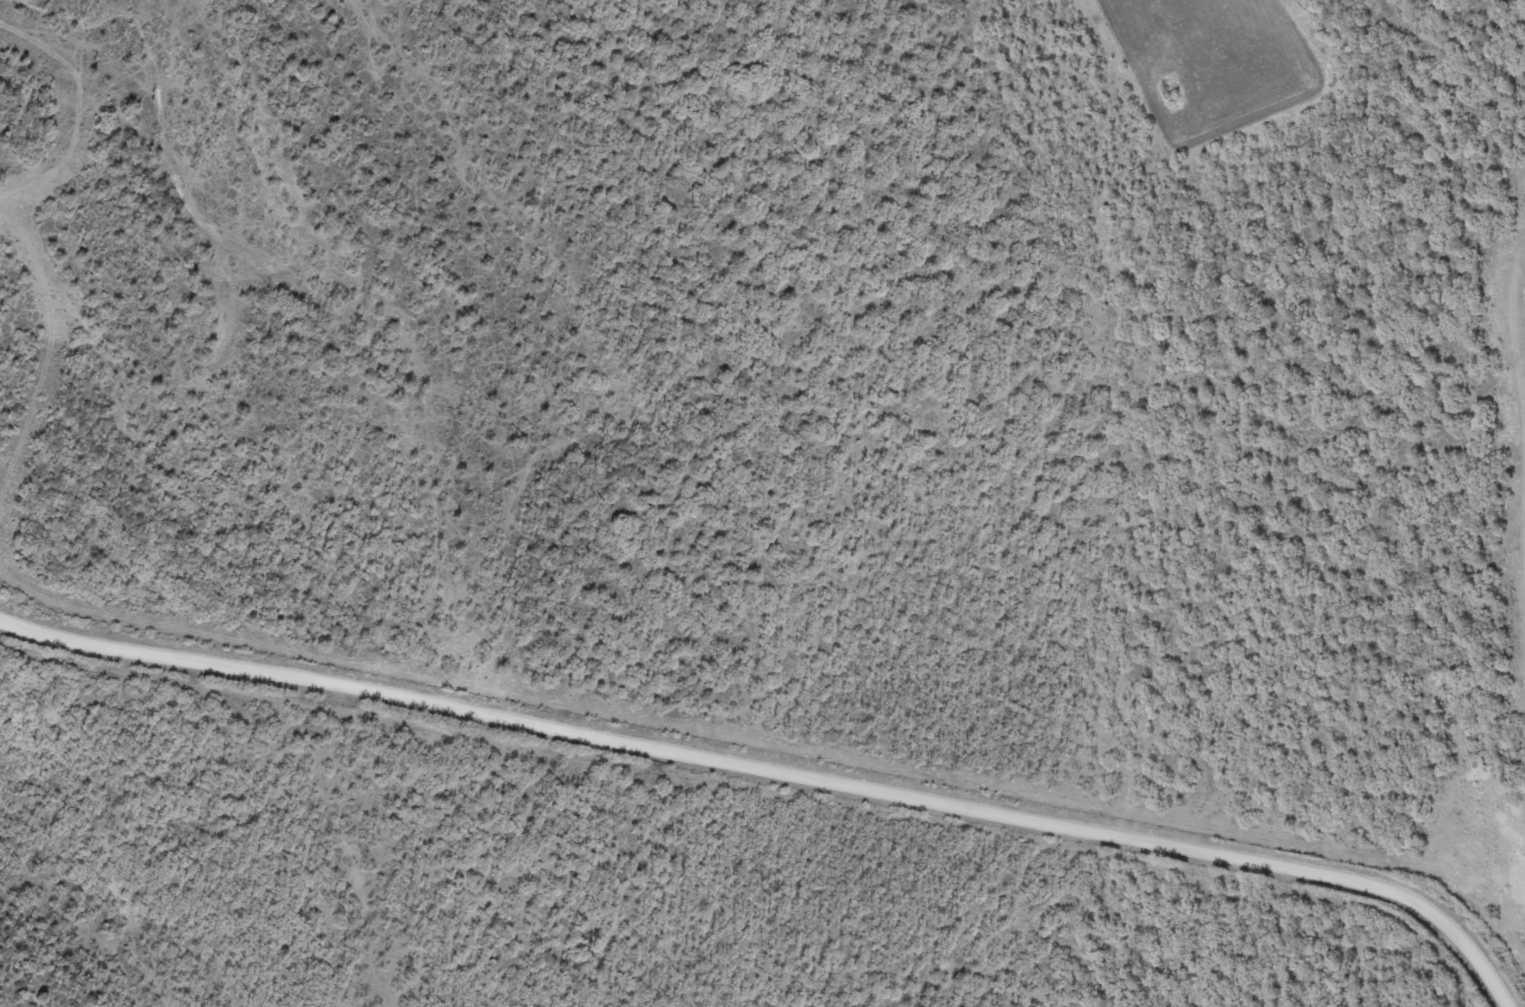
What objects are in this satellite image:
road: (778, 770)

